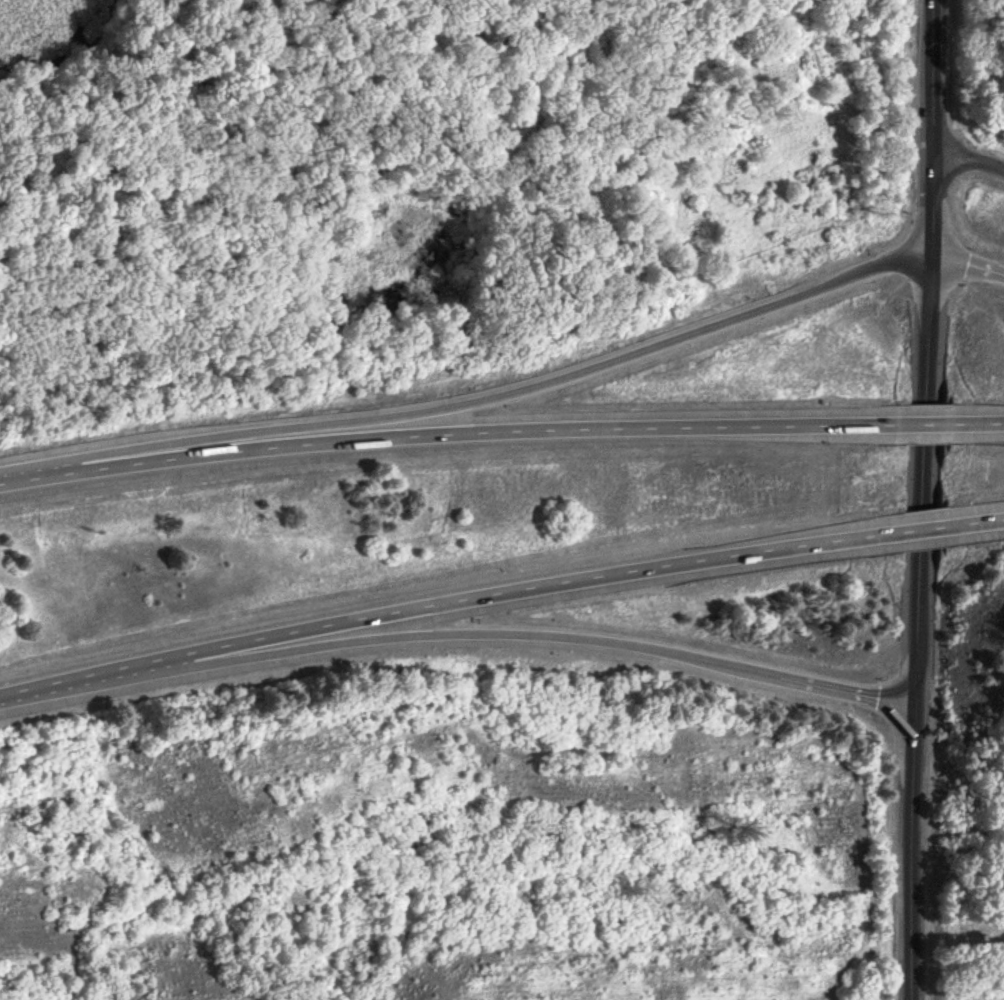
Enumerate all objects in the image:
road: (933, 124)
road: (969, 163)
park: (429, 167)
road: (967, 259)
road: (584, 367)
road: (976, 421)
road: (925, 422)
road: (449, 426)
road: (975, 523)
road: (922, 530)
road: (447, 601)
road: (918, 623)
road: (486, 628)

